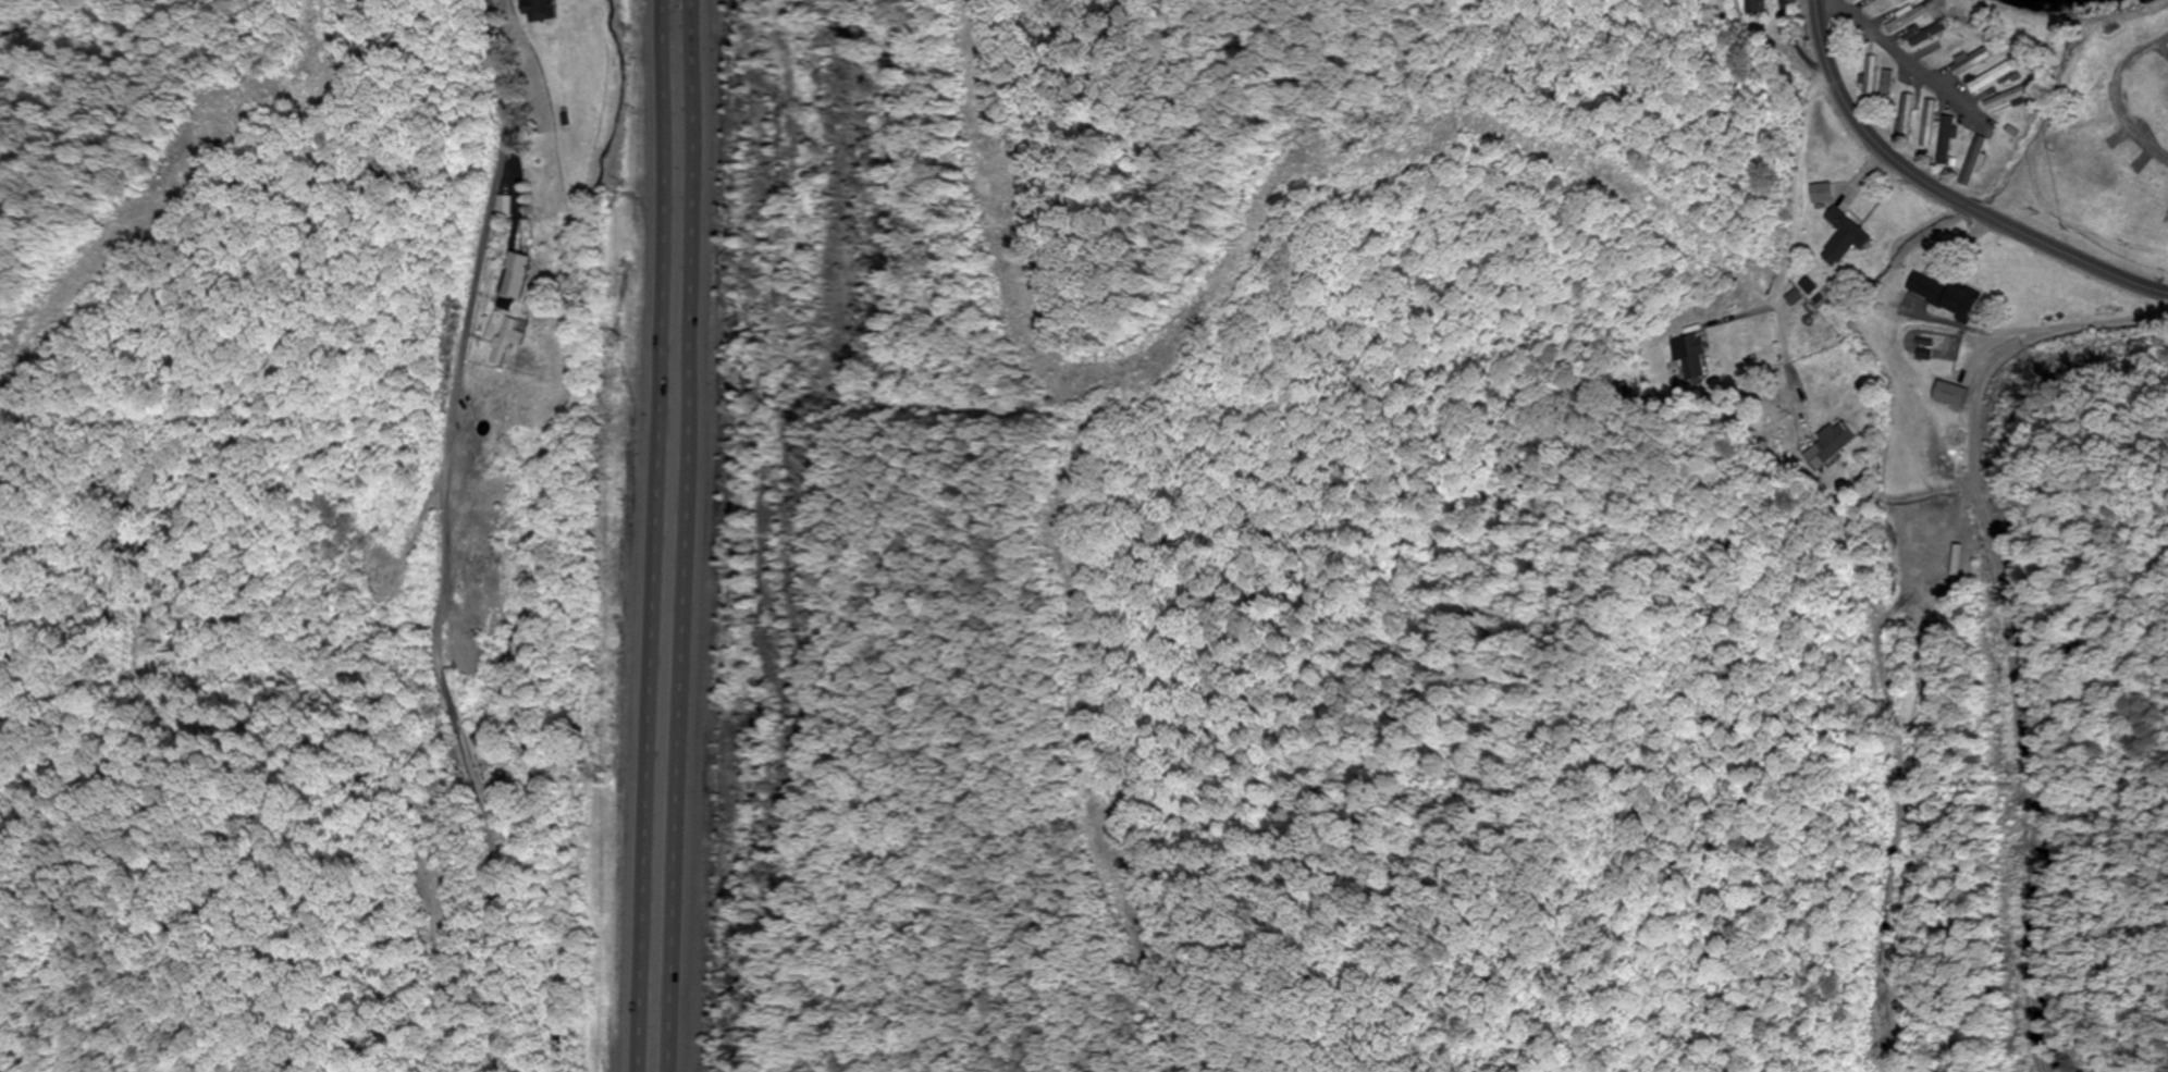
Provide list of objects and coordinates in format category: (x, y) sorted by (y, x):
building: (1857, 0)
river: (2045, 4)
building: (1890, 5)
building: (1756, 8)
building: (539, 10)
building: (1912, 19)
building: (1932, 34)
road: (1789, 47)
road: (1906, 58)
building: (1873, 76)
building: (1998, 76)
building: (1889, 88)
road: (2119, 95)
building: (2011, 98)
building: (1910, 115)
building: (1933, 123)
building: (1950, 140)
road: (1793, 183)
road: (1946, 193)
building: (504, 207)
building: (1846, 237)
building: (517, 275)
building: (1946, 295)
building: (507, 340)
building: (1696, 360)
building: (1832, 445)
road: (652, 535)
road: (688, 535)
road: (446, 537)
building: (489, 749)

